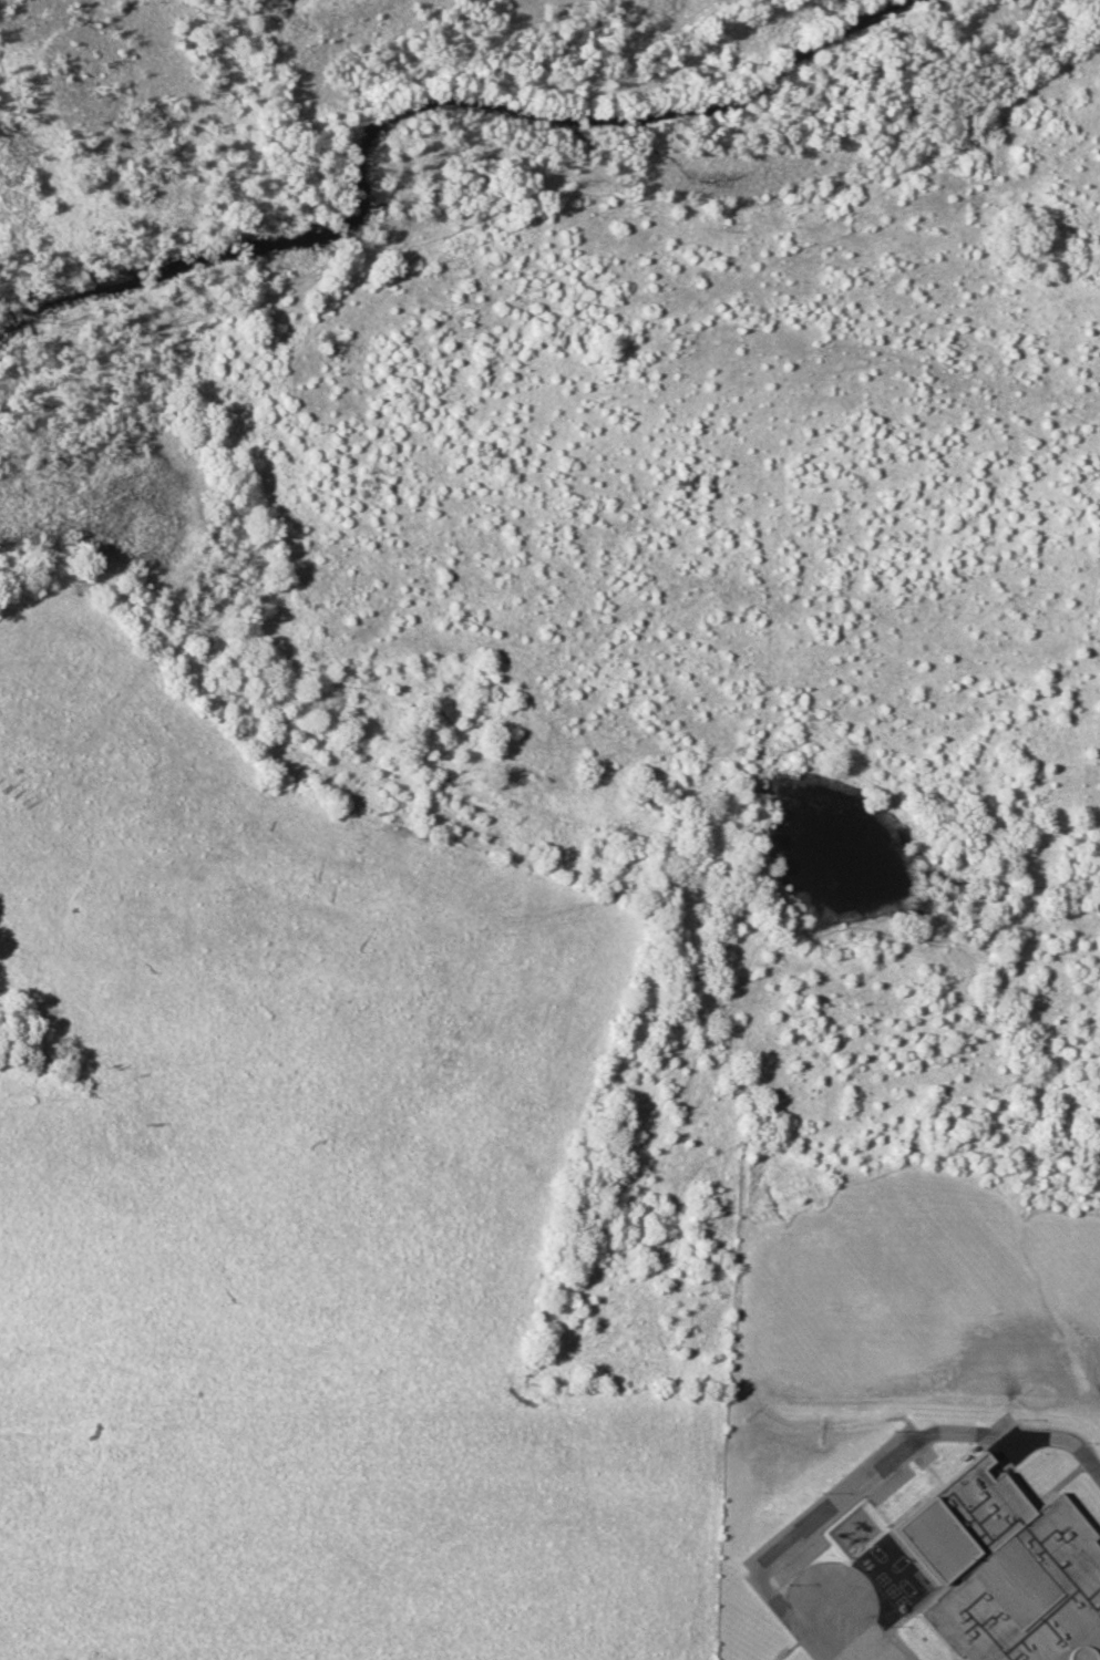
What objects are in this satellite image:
road: (887, 1463)
building: (1006, 1570)
road: (826, 1635)

